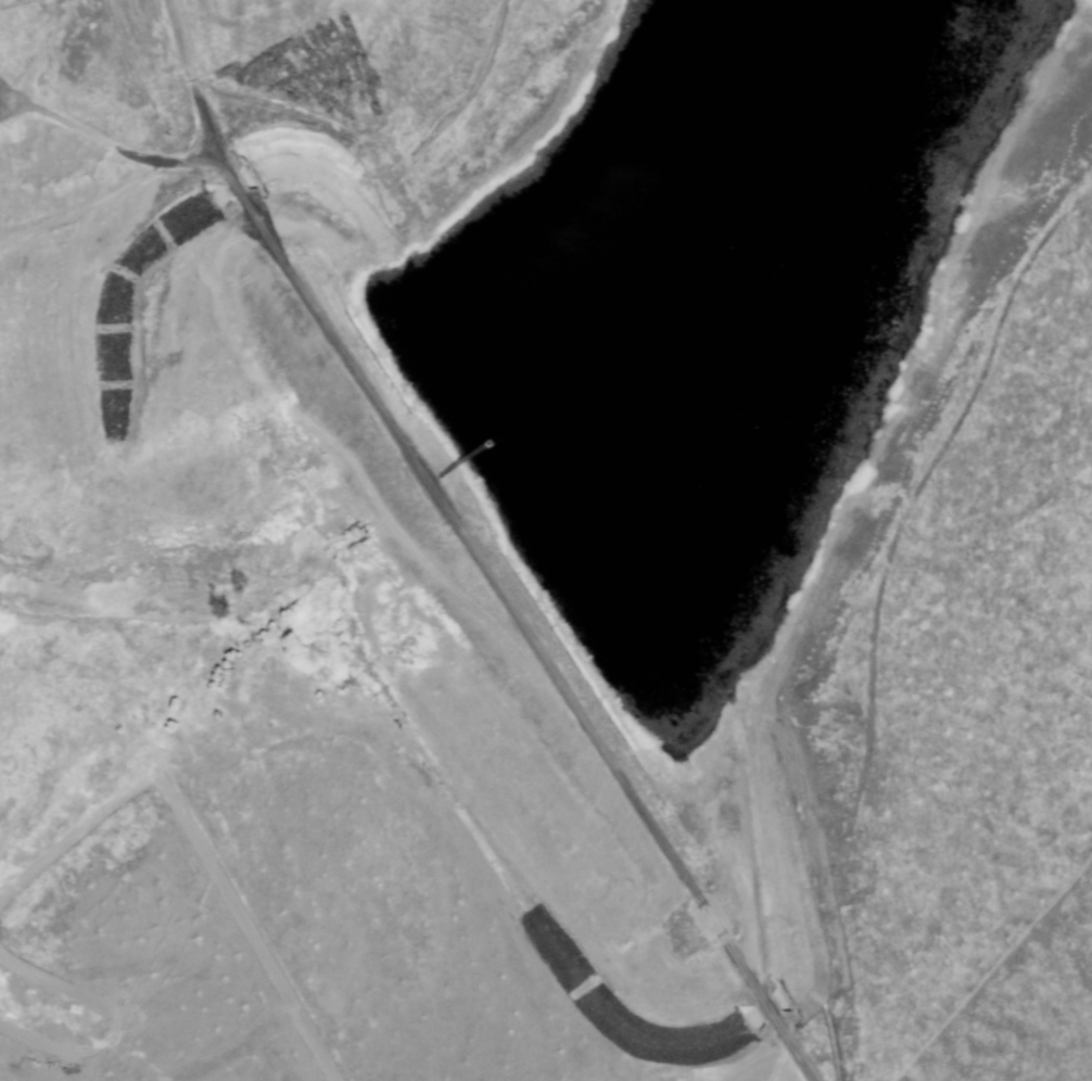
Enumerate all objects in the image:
road: (9, 90)
road: (9, 105)
road: (116, 145)
road: (420, 150)
airport: (546, 540)
road: (471, 549)
road: (194, 845)
road: (84, 1018)

